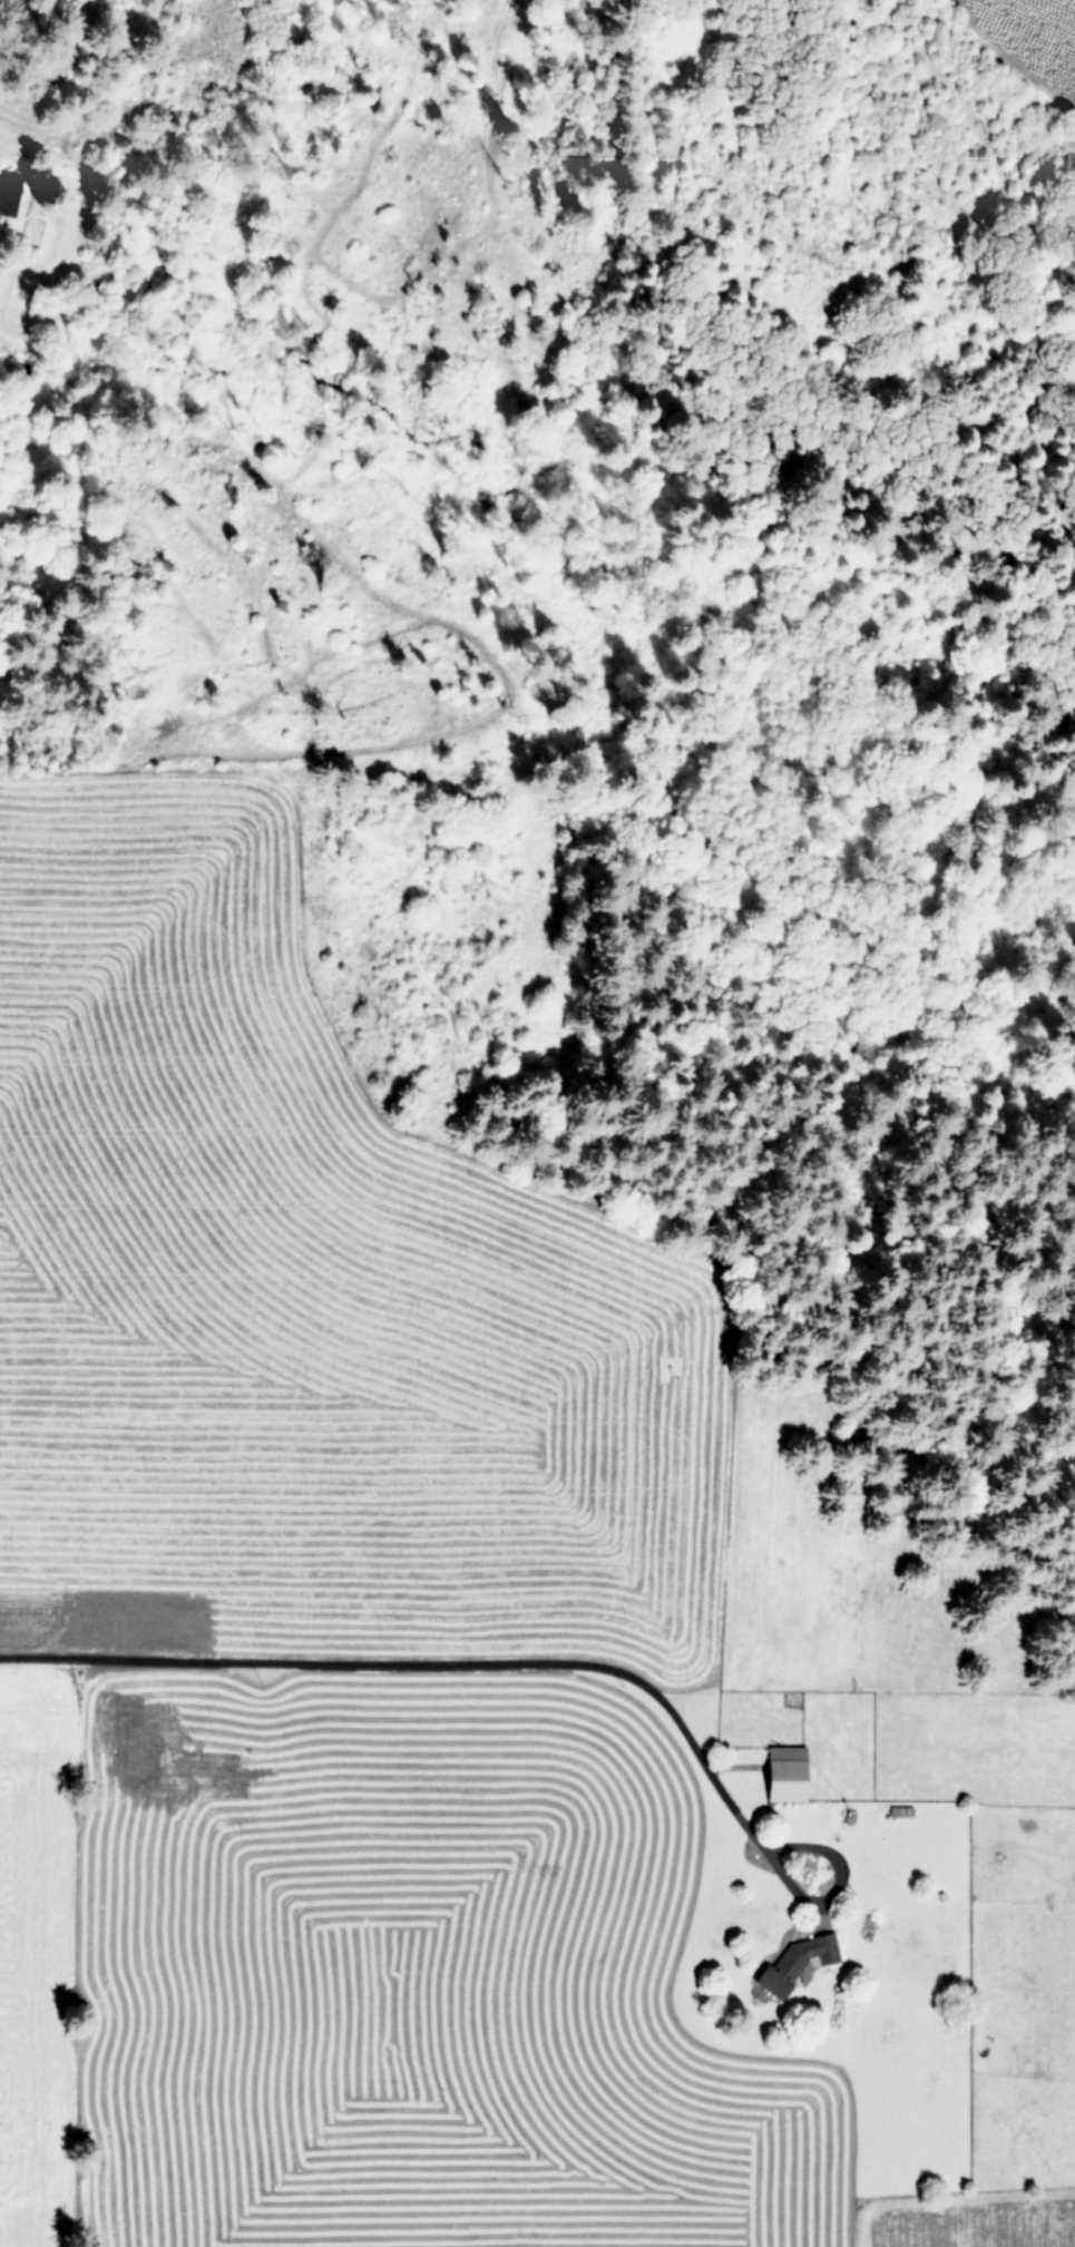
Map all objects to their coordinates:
road: (418, 1661)
building: (781, 1774)
road: (834, 1879)
road: (72, 1953)
building: (792, 1962)

